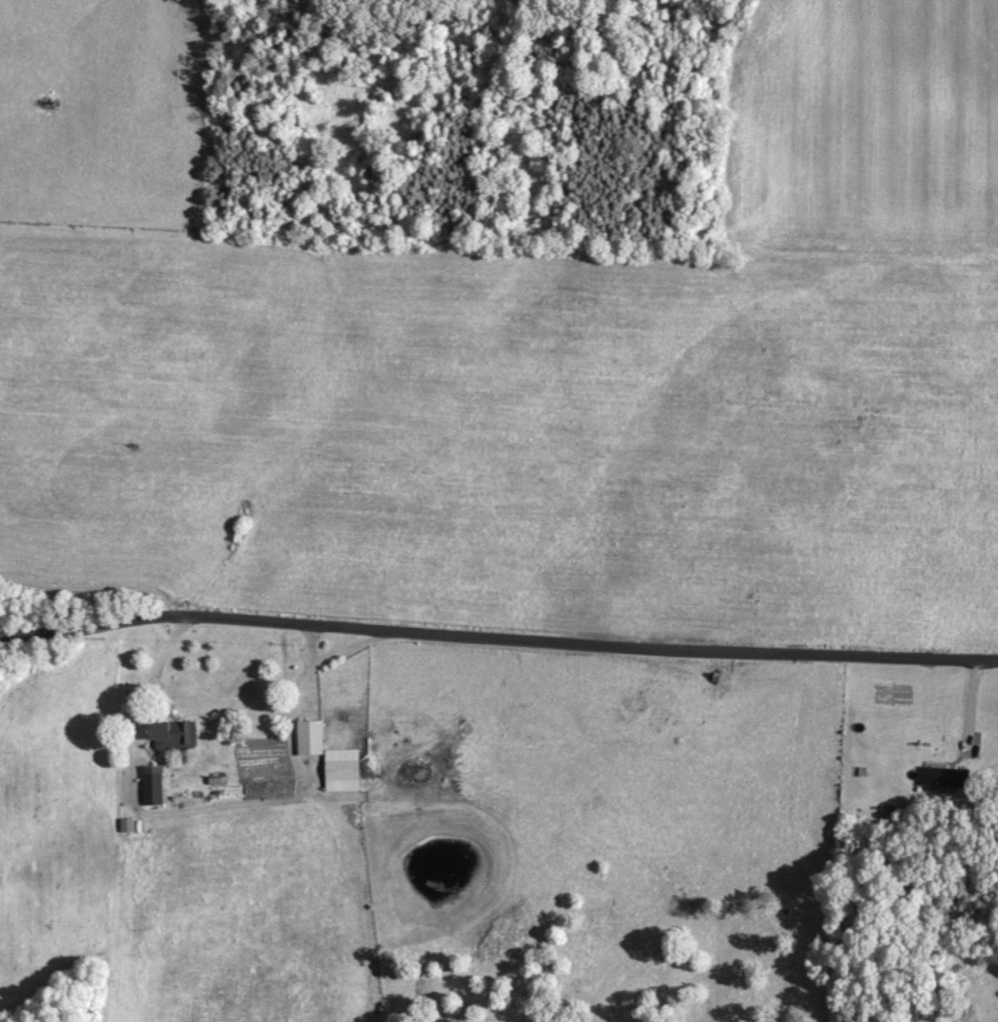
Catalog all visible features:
road: (99, 579)
road: (54, 628)
road: (553, 636)
road: (315, 645)
road: (972, 704)
building: (174, 734)
building: (331, 756)
building: (944, 776)
building: (154, 784)
road: (234, 807)
building: (963, 1013)

